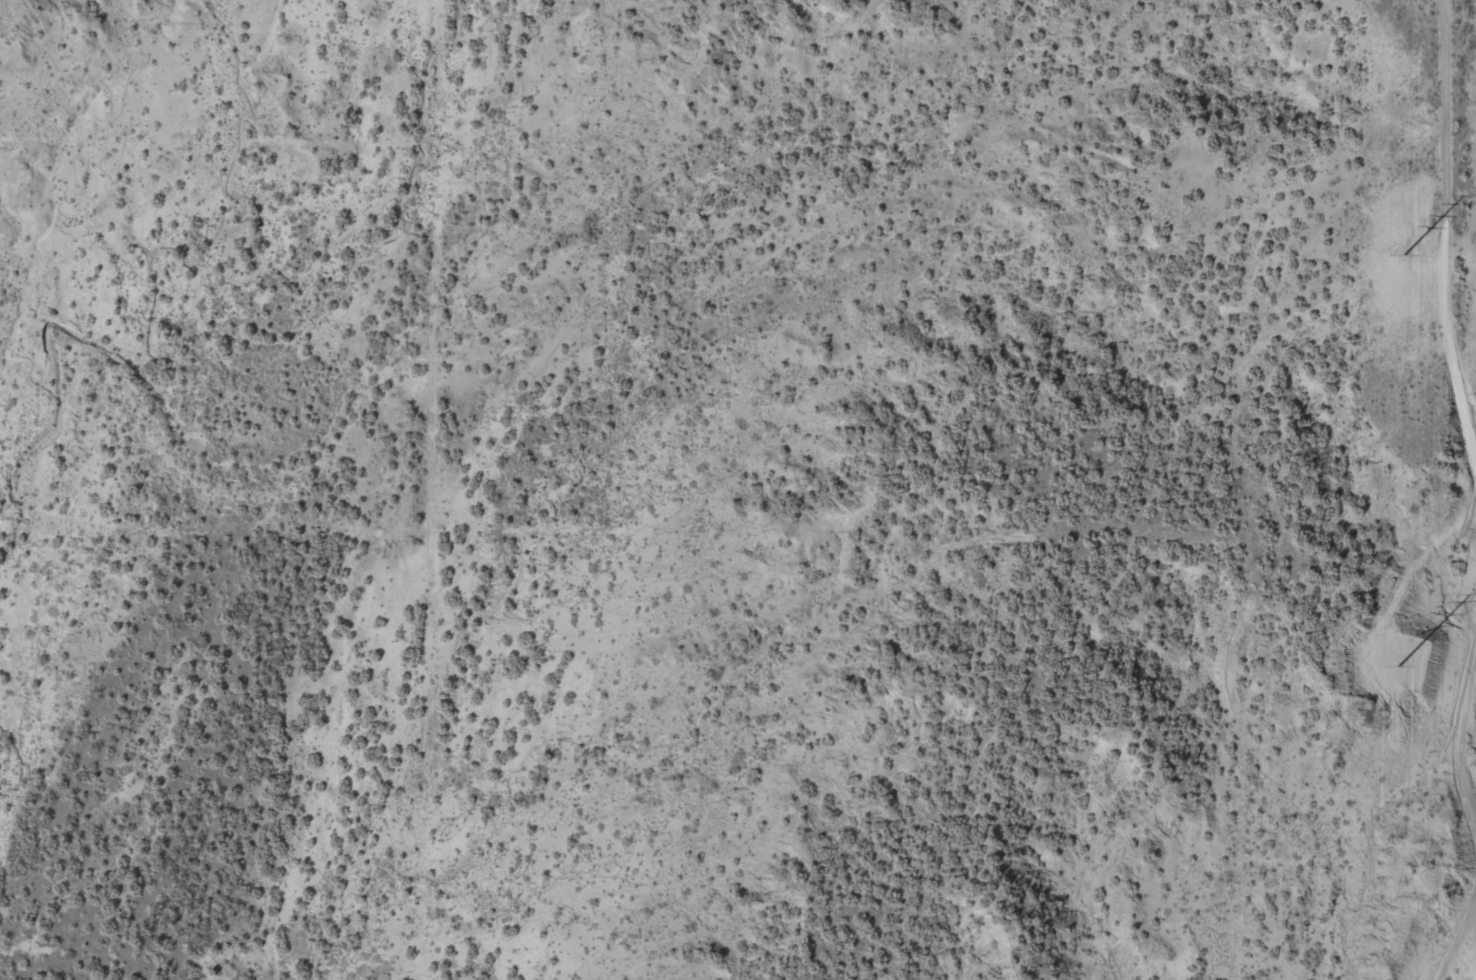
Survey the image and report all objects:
power tower: (1404, 254)
power tower: (1398, 666)
power tower: (1473, 764)

